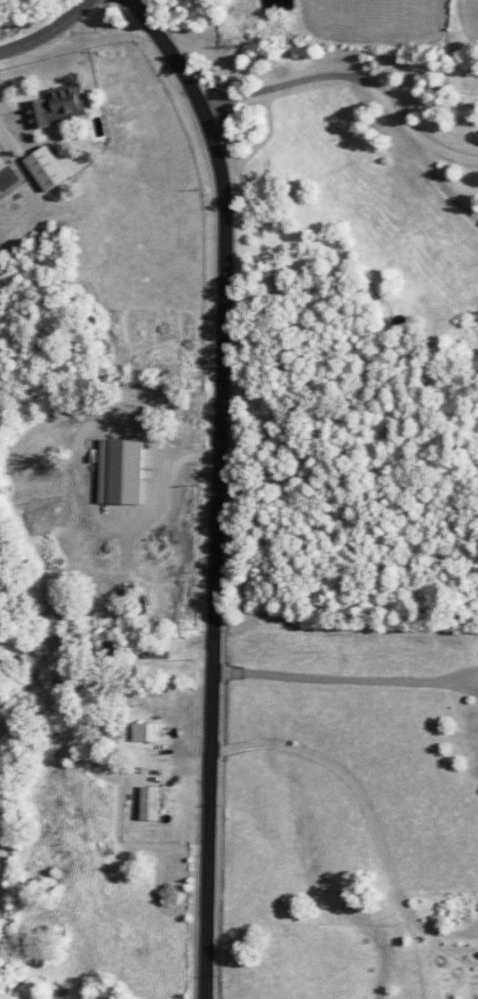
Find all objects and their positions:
road: (45, 31)
road: (187, 31)
road: (351, 80)
building: (57, 106)
building: (46, 169)
building: (120, 472)
road: (218, 485)
building: (155, 652)
road: (345, 680)
building: (145, 732)
building: (149, 803)
road: (229, 989)

